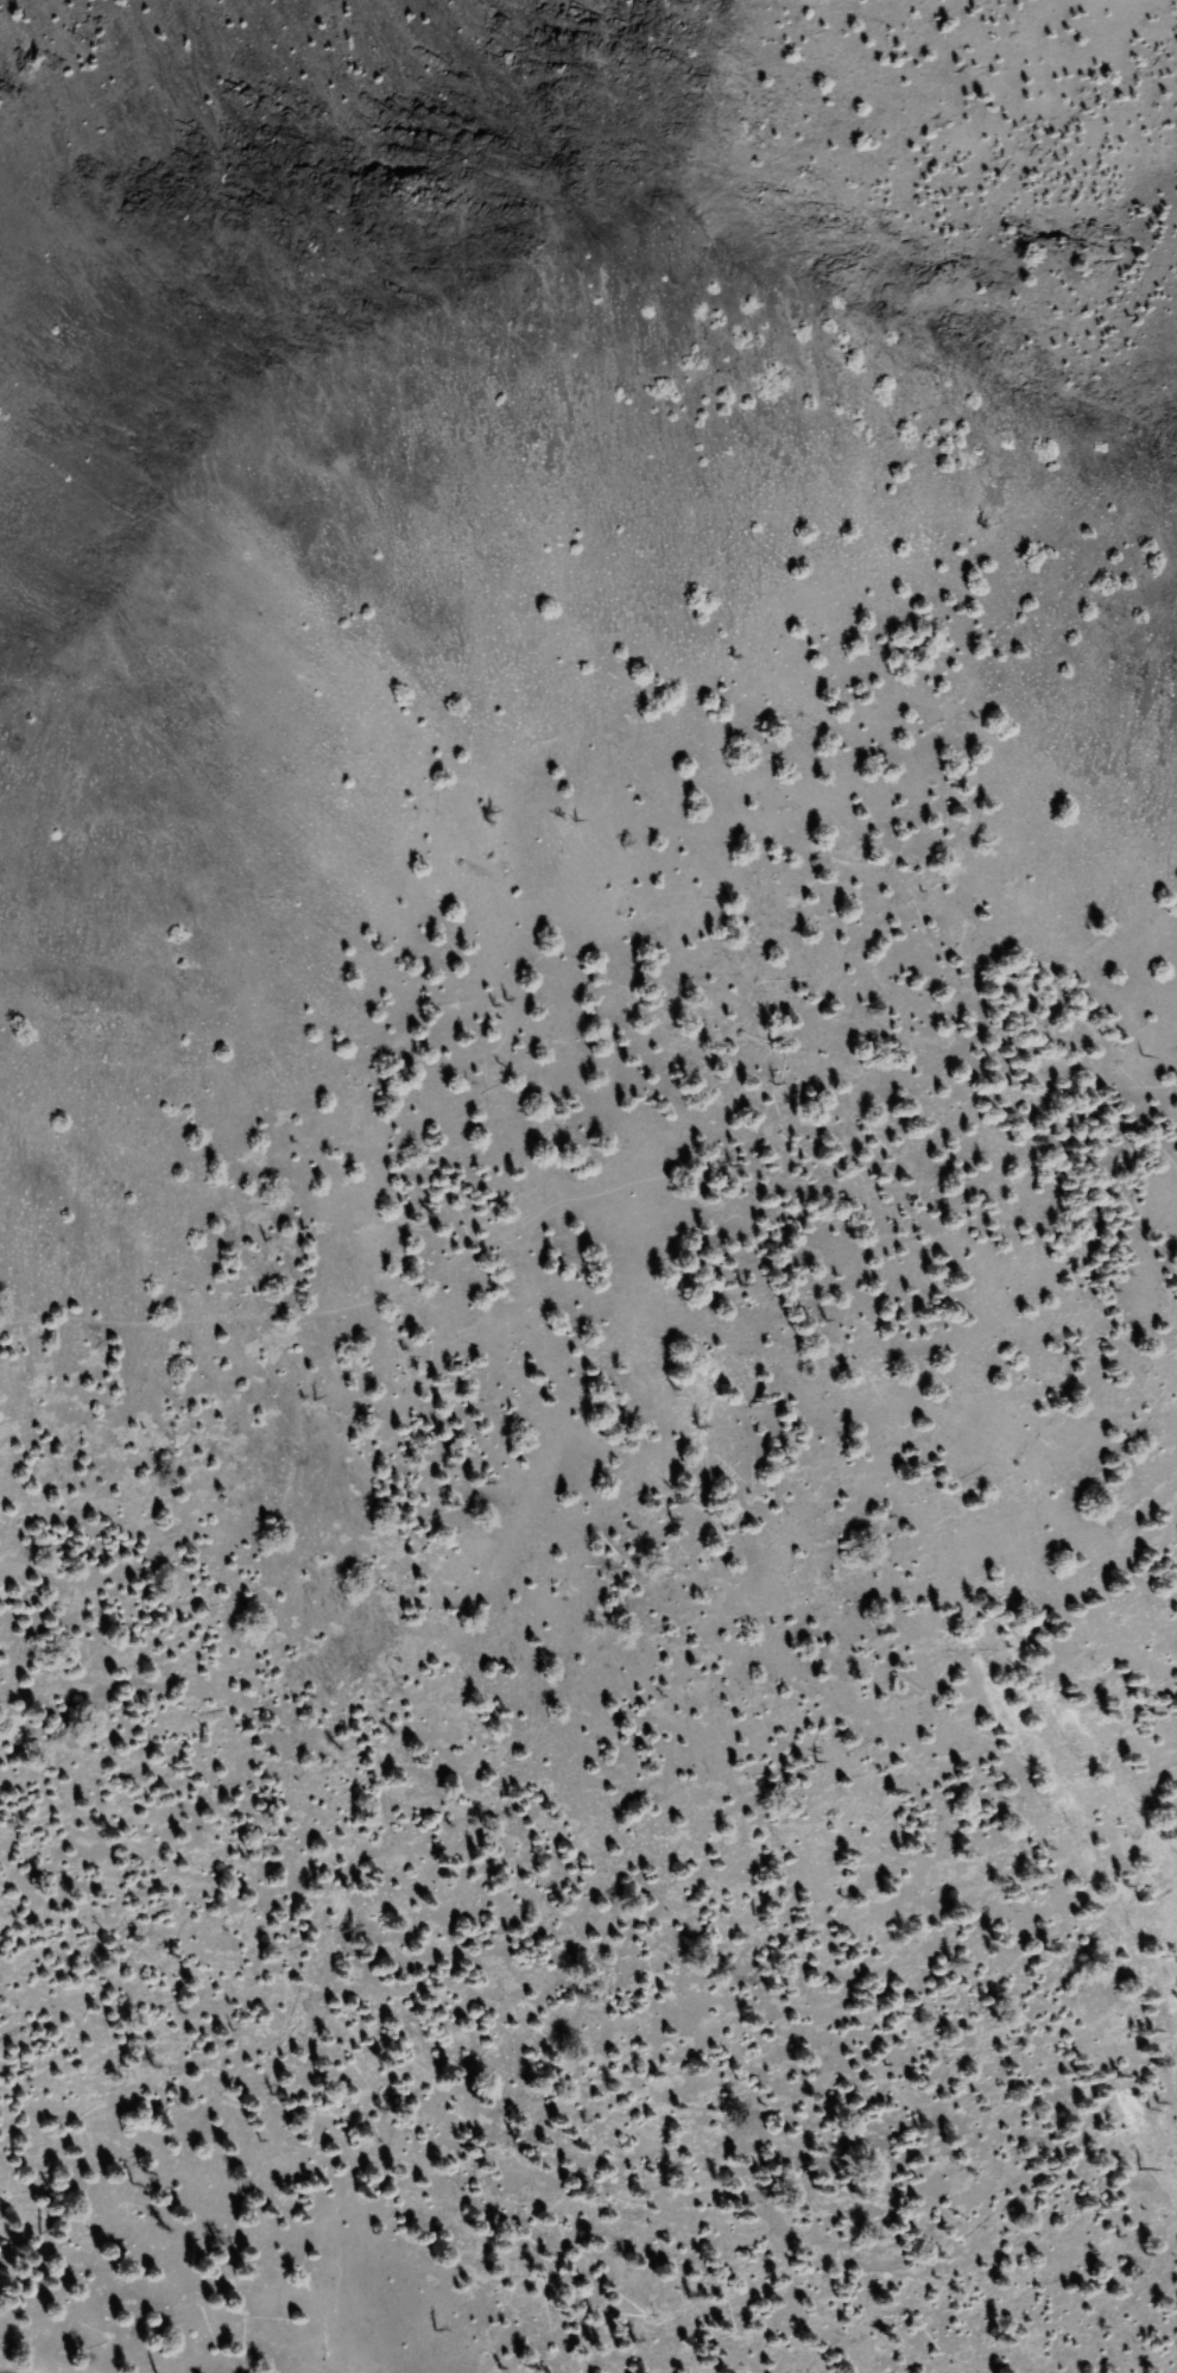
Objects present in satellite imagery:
road: (582, 1188)
road: (165, 2346)

